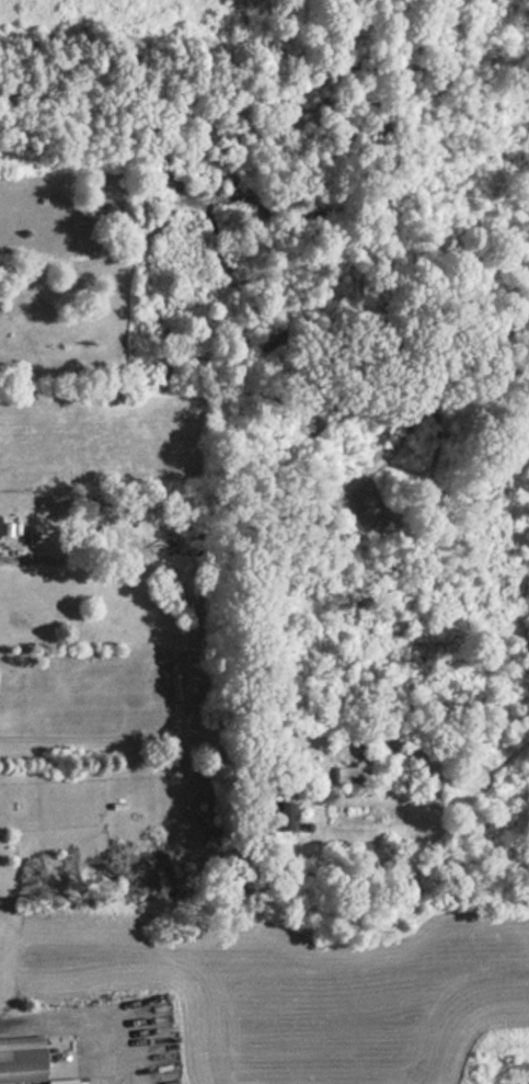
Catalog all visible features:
road: (264, 71)
building: (0, 525)
road: (24, 573)
road: (125, 737)
building: (349, 775)
building: (286, 814)
road: (68, 1018)
building: (22, 1058)
building: (62, 1081)

